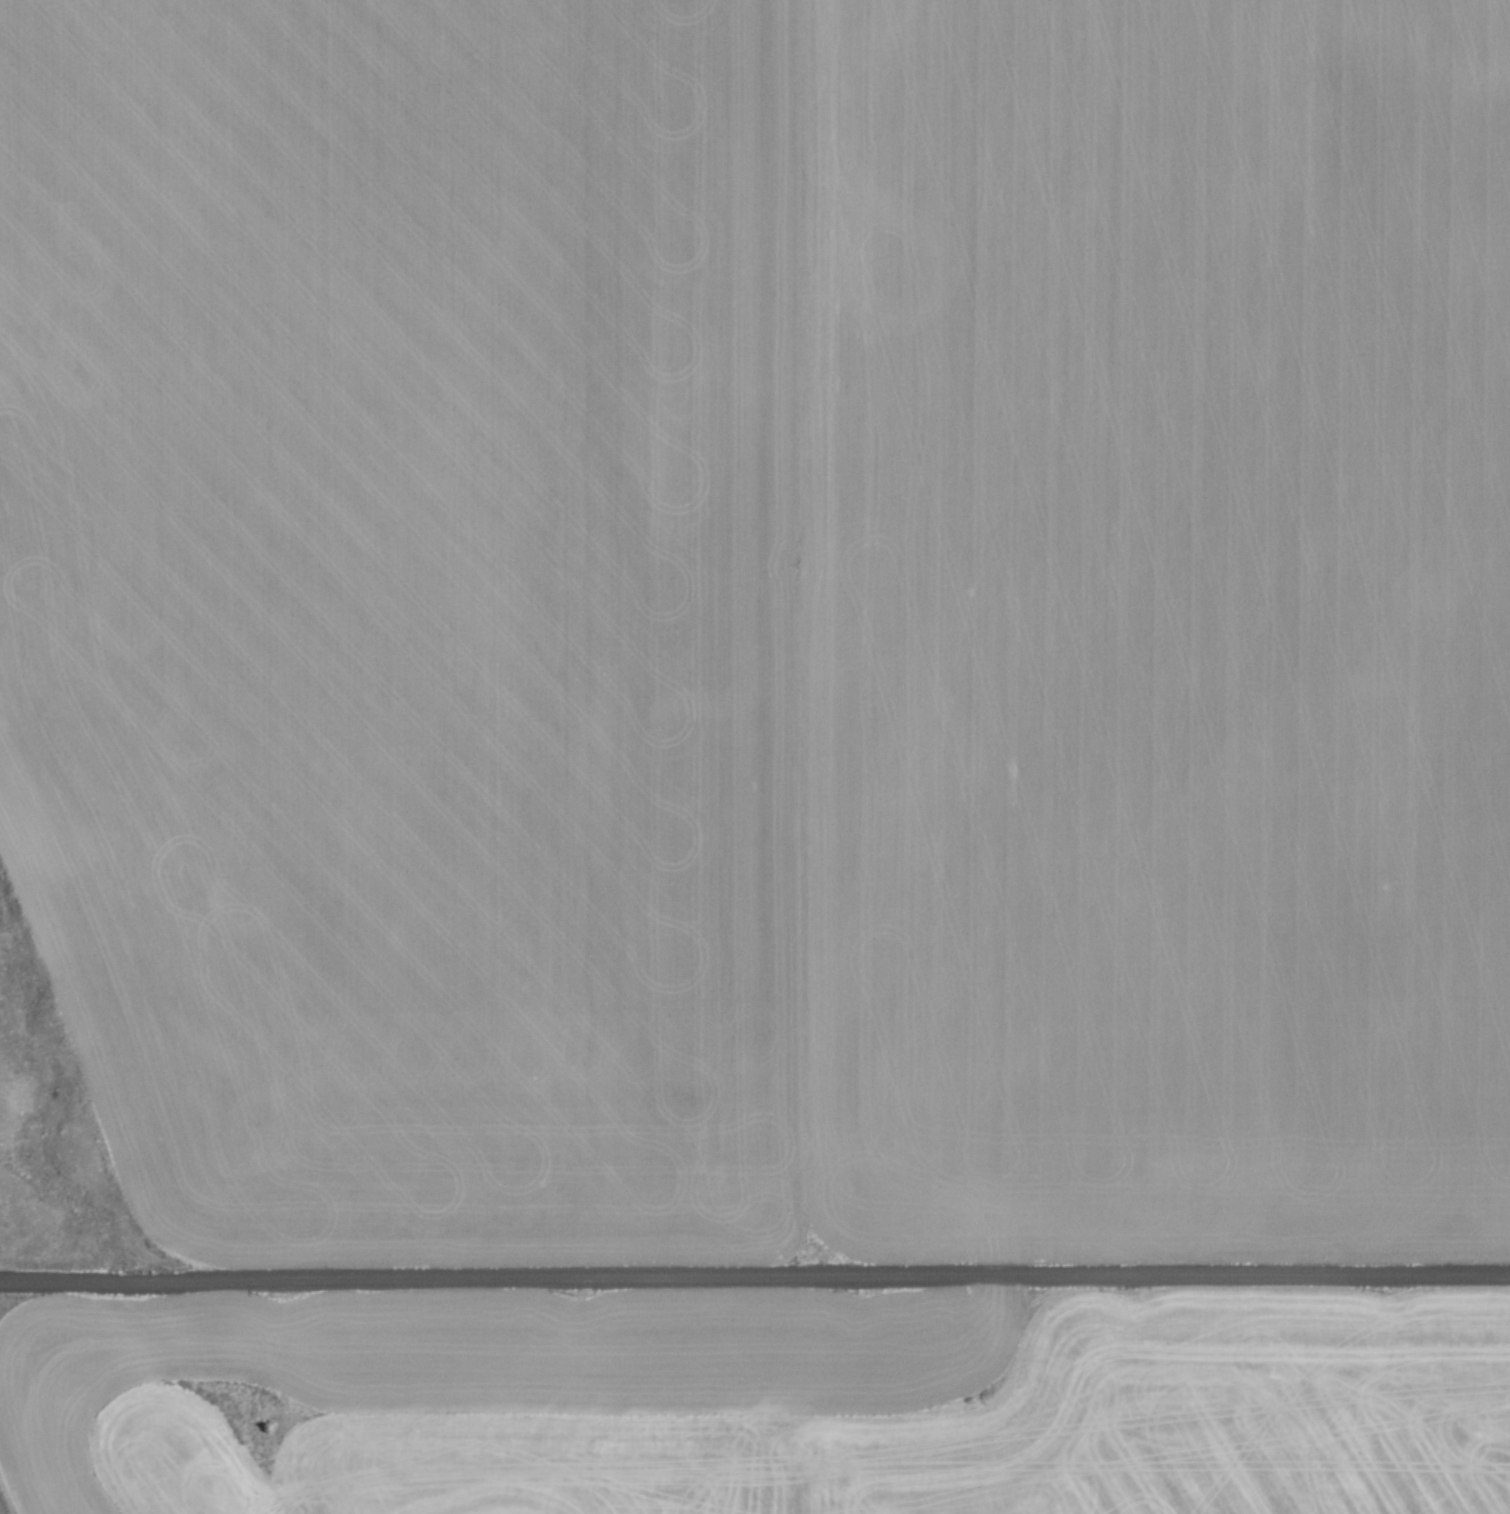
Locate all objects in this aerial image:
road: (755, 1287)

